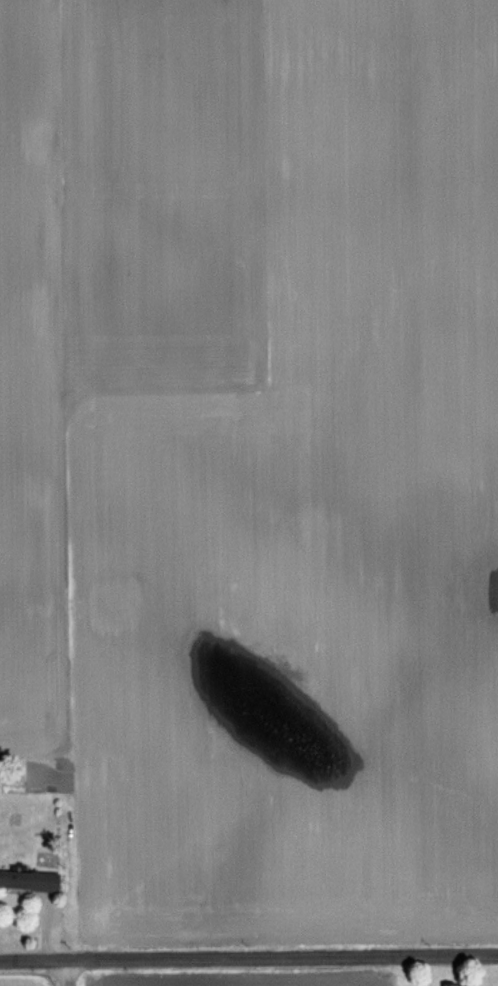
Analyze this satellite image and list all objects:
building: (30, 881)
road: (248, 957)
road: (62, 972)
building: (457, 985)

